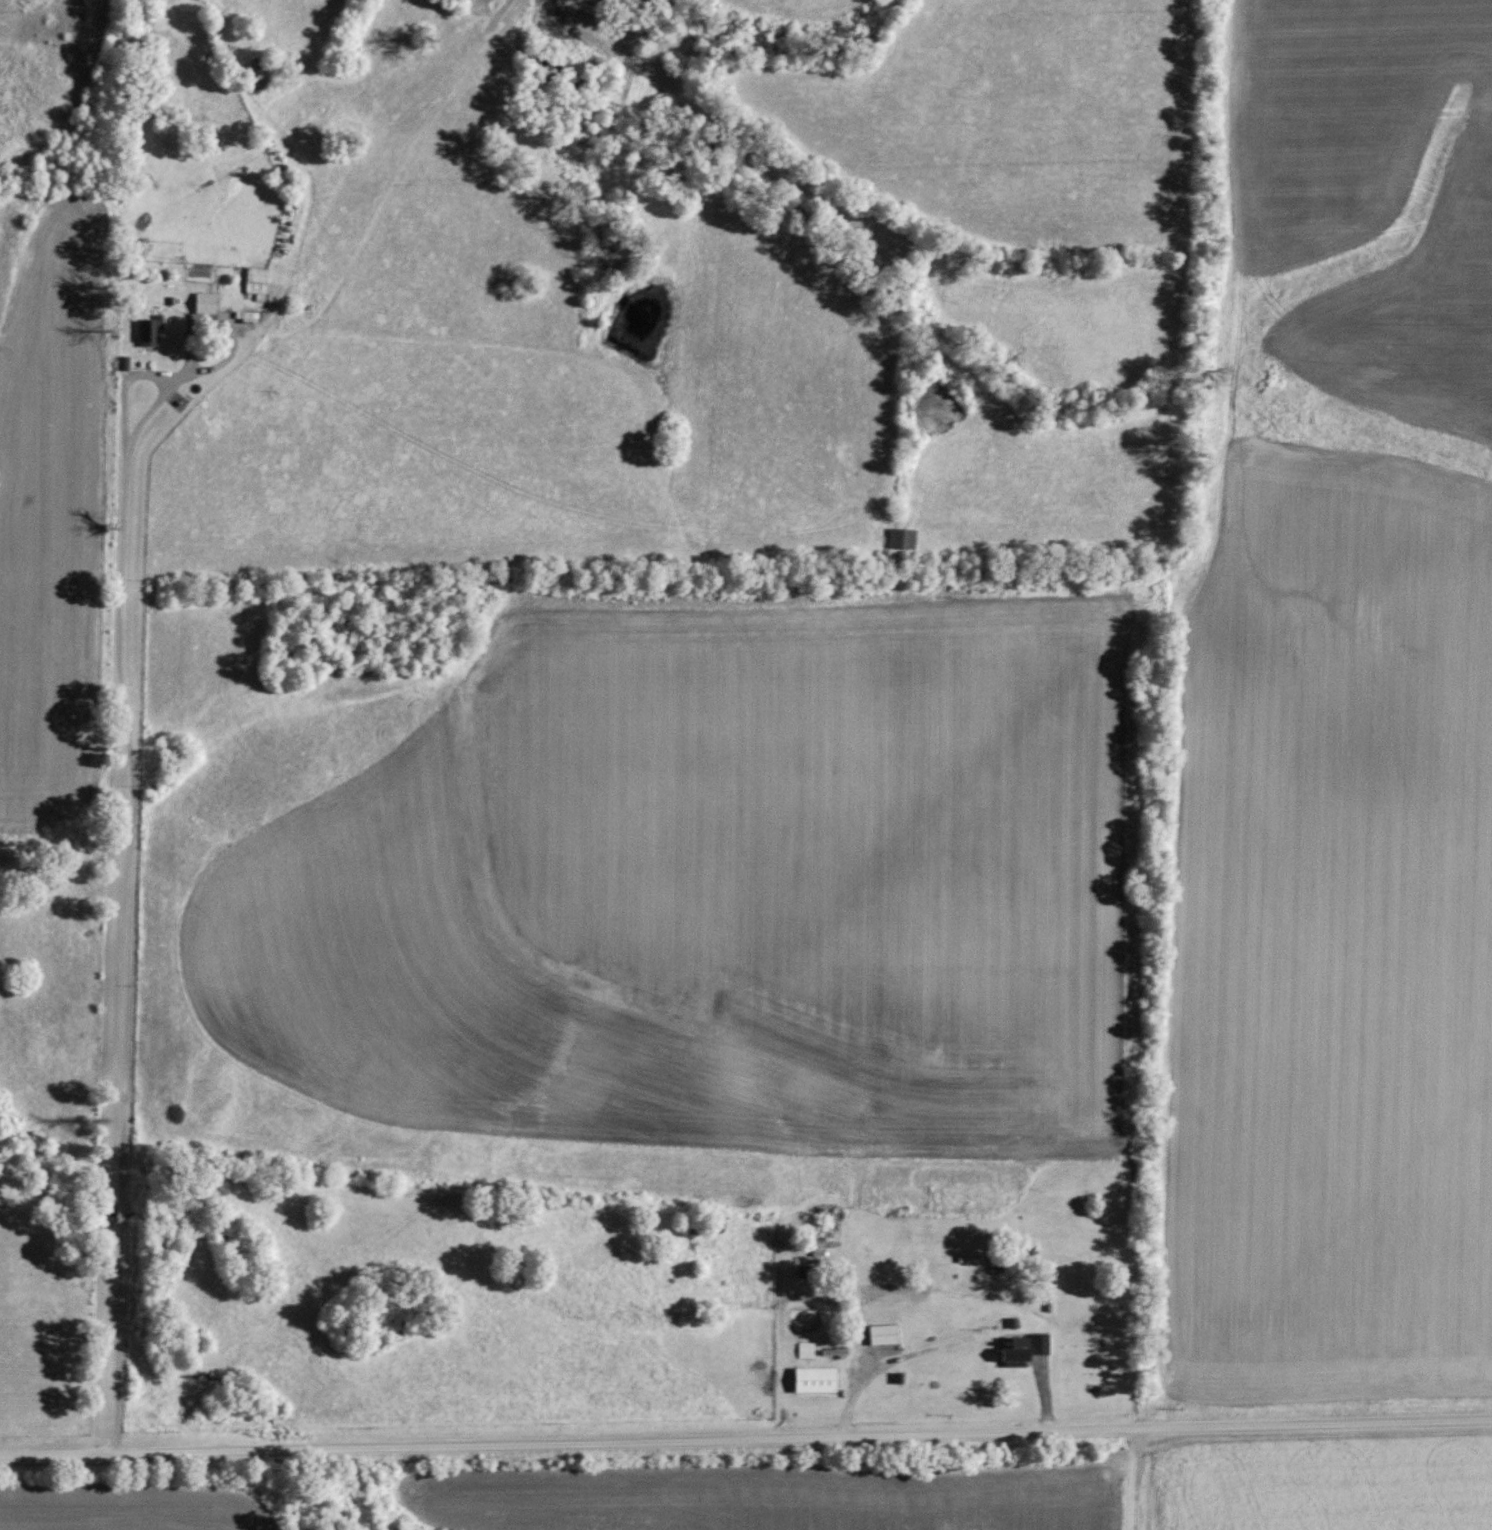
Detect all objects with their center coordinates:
building: (256, 72)
building: (255, 282)
building: (204, 302)
building: (245, 315)
building: (149, 331)
building: (900, 539)
road: (131, 862)
building: (883, 1334)
building: (1022, 1349)
building: (805, 1350)
building: (814, 1379)
road: (746, 1440)

